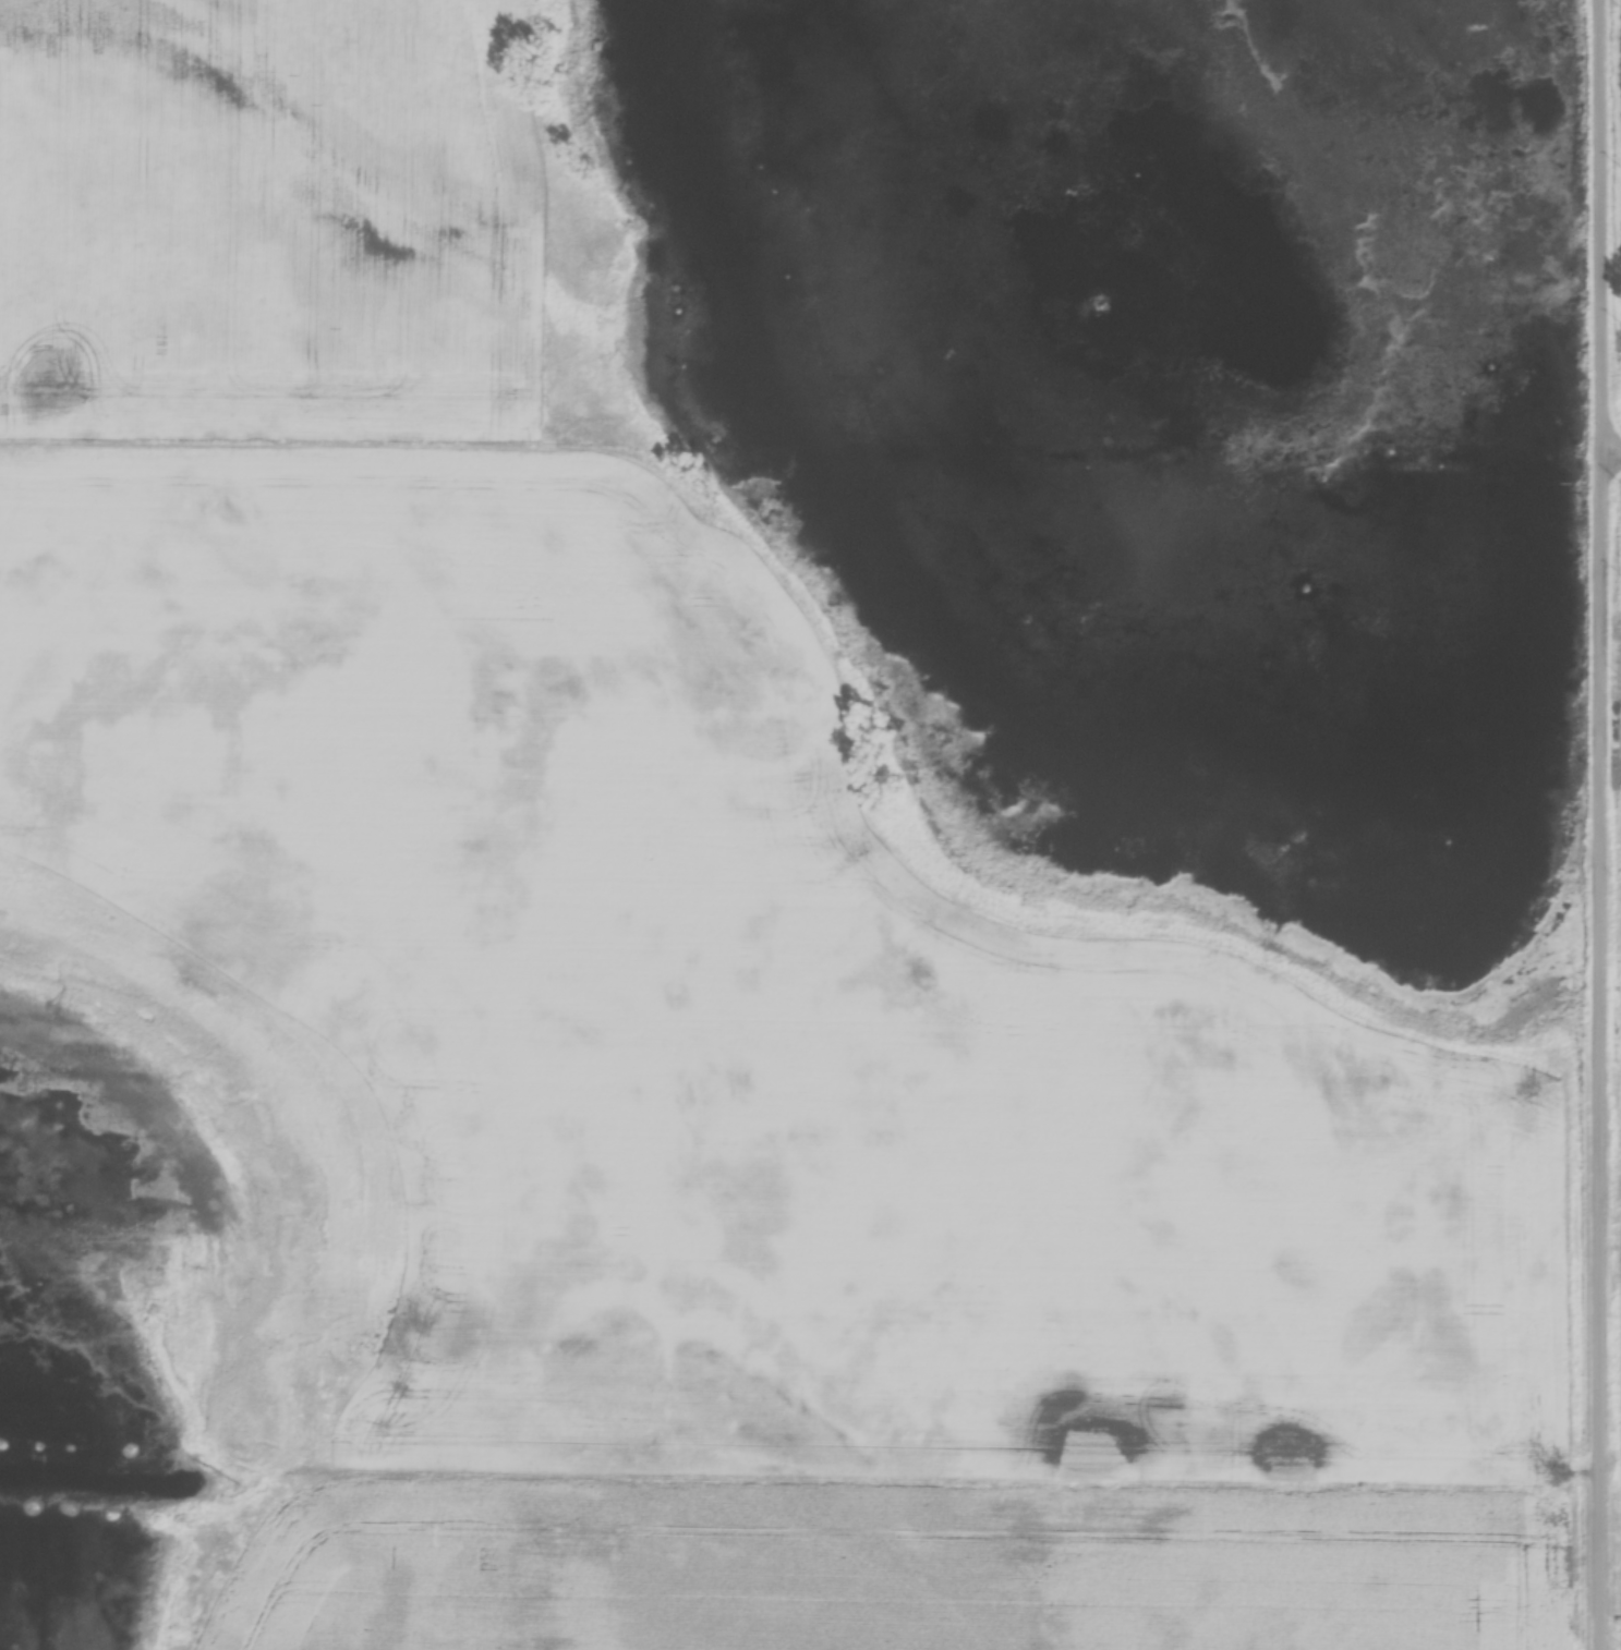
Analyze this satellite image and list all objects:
road: (1611, 459)
road: (1601, 824)

